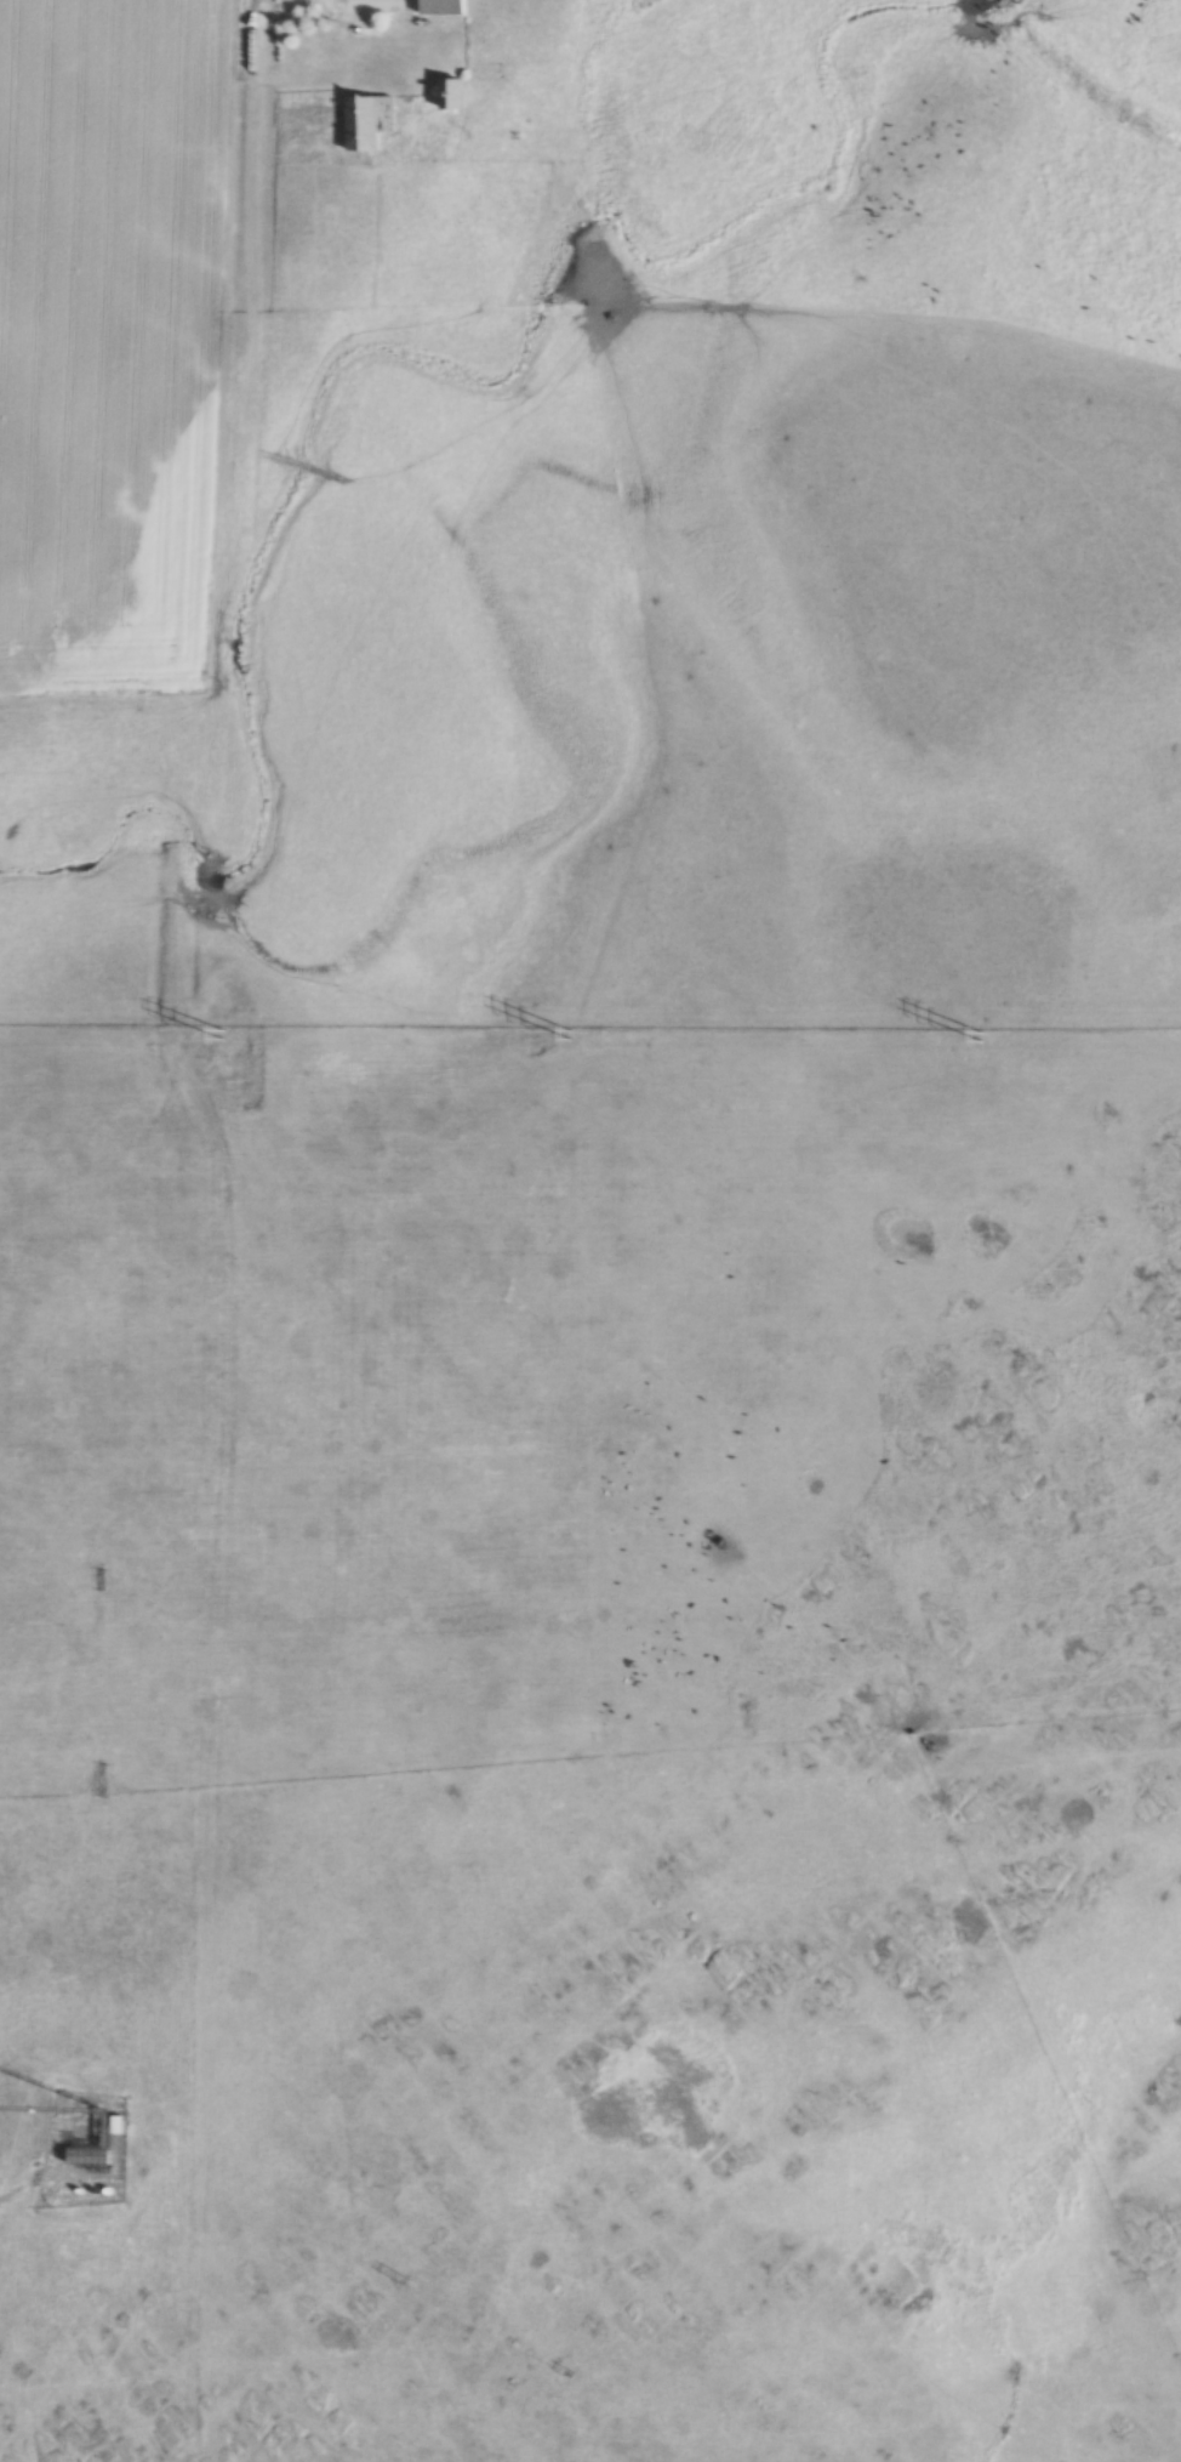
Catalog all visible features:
power tower: (221, 1033)
power tower: (569, 1036)
power tower: (981, 1039)

